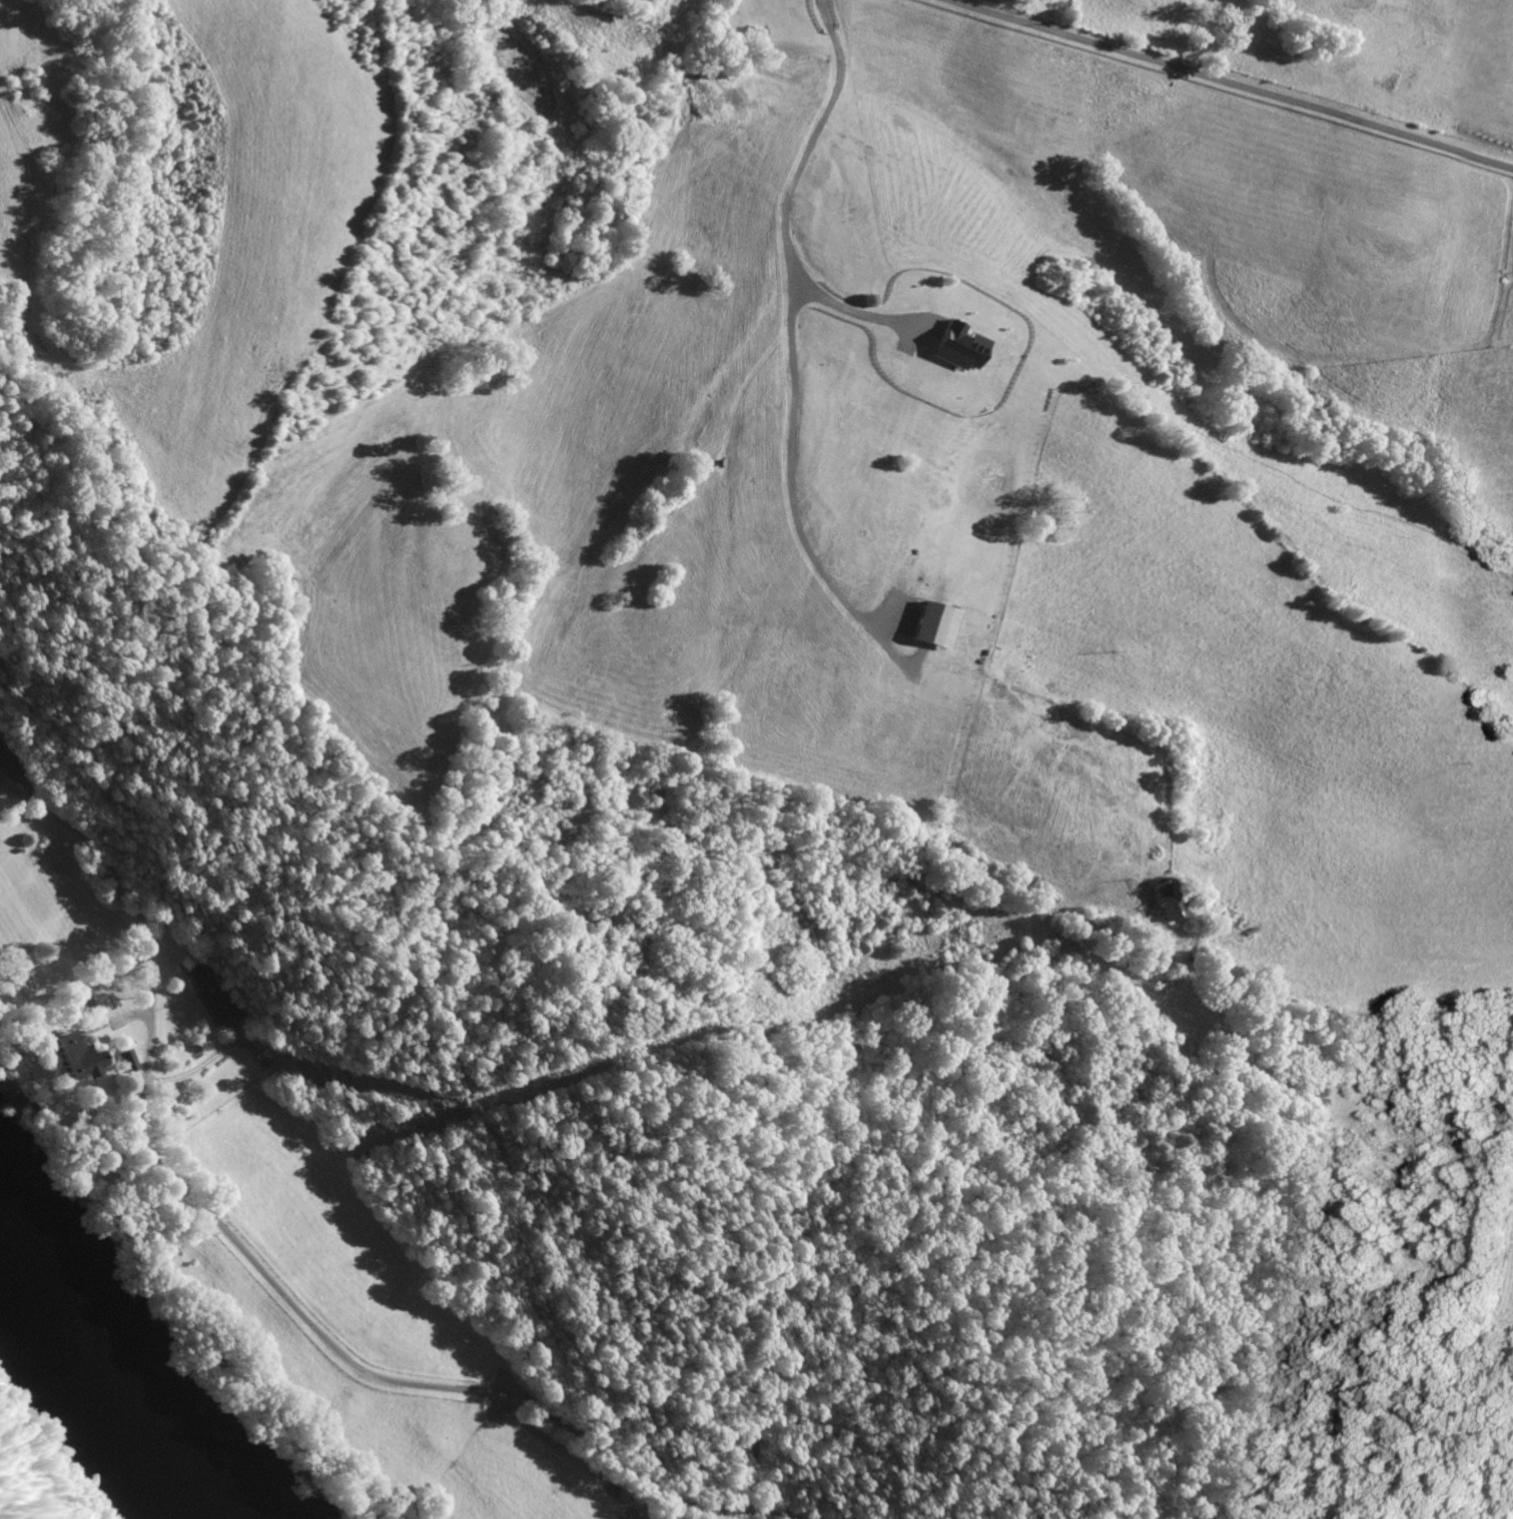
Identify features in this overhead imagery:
road: (1229, 83)
road: (840, 309)
road: (792, 317)
building: (955, 348)
building: (931, 627)
building: (9, 769)
building: (1164, 901)
building: (213, 995)
road: (1332, 1011)
building: (68, 1056)
building: (127, 1060)
road: (266, 1275)
river: (103, 1375)
road: (777, 1513)

